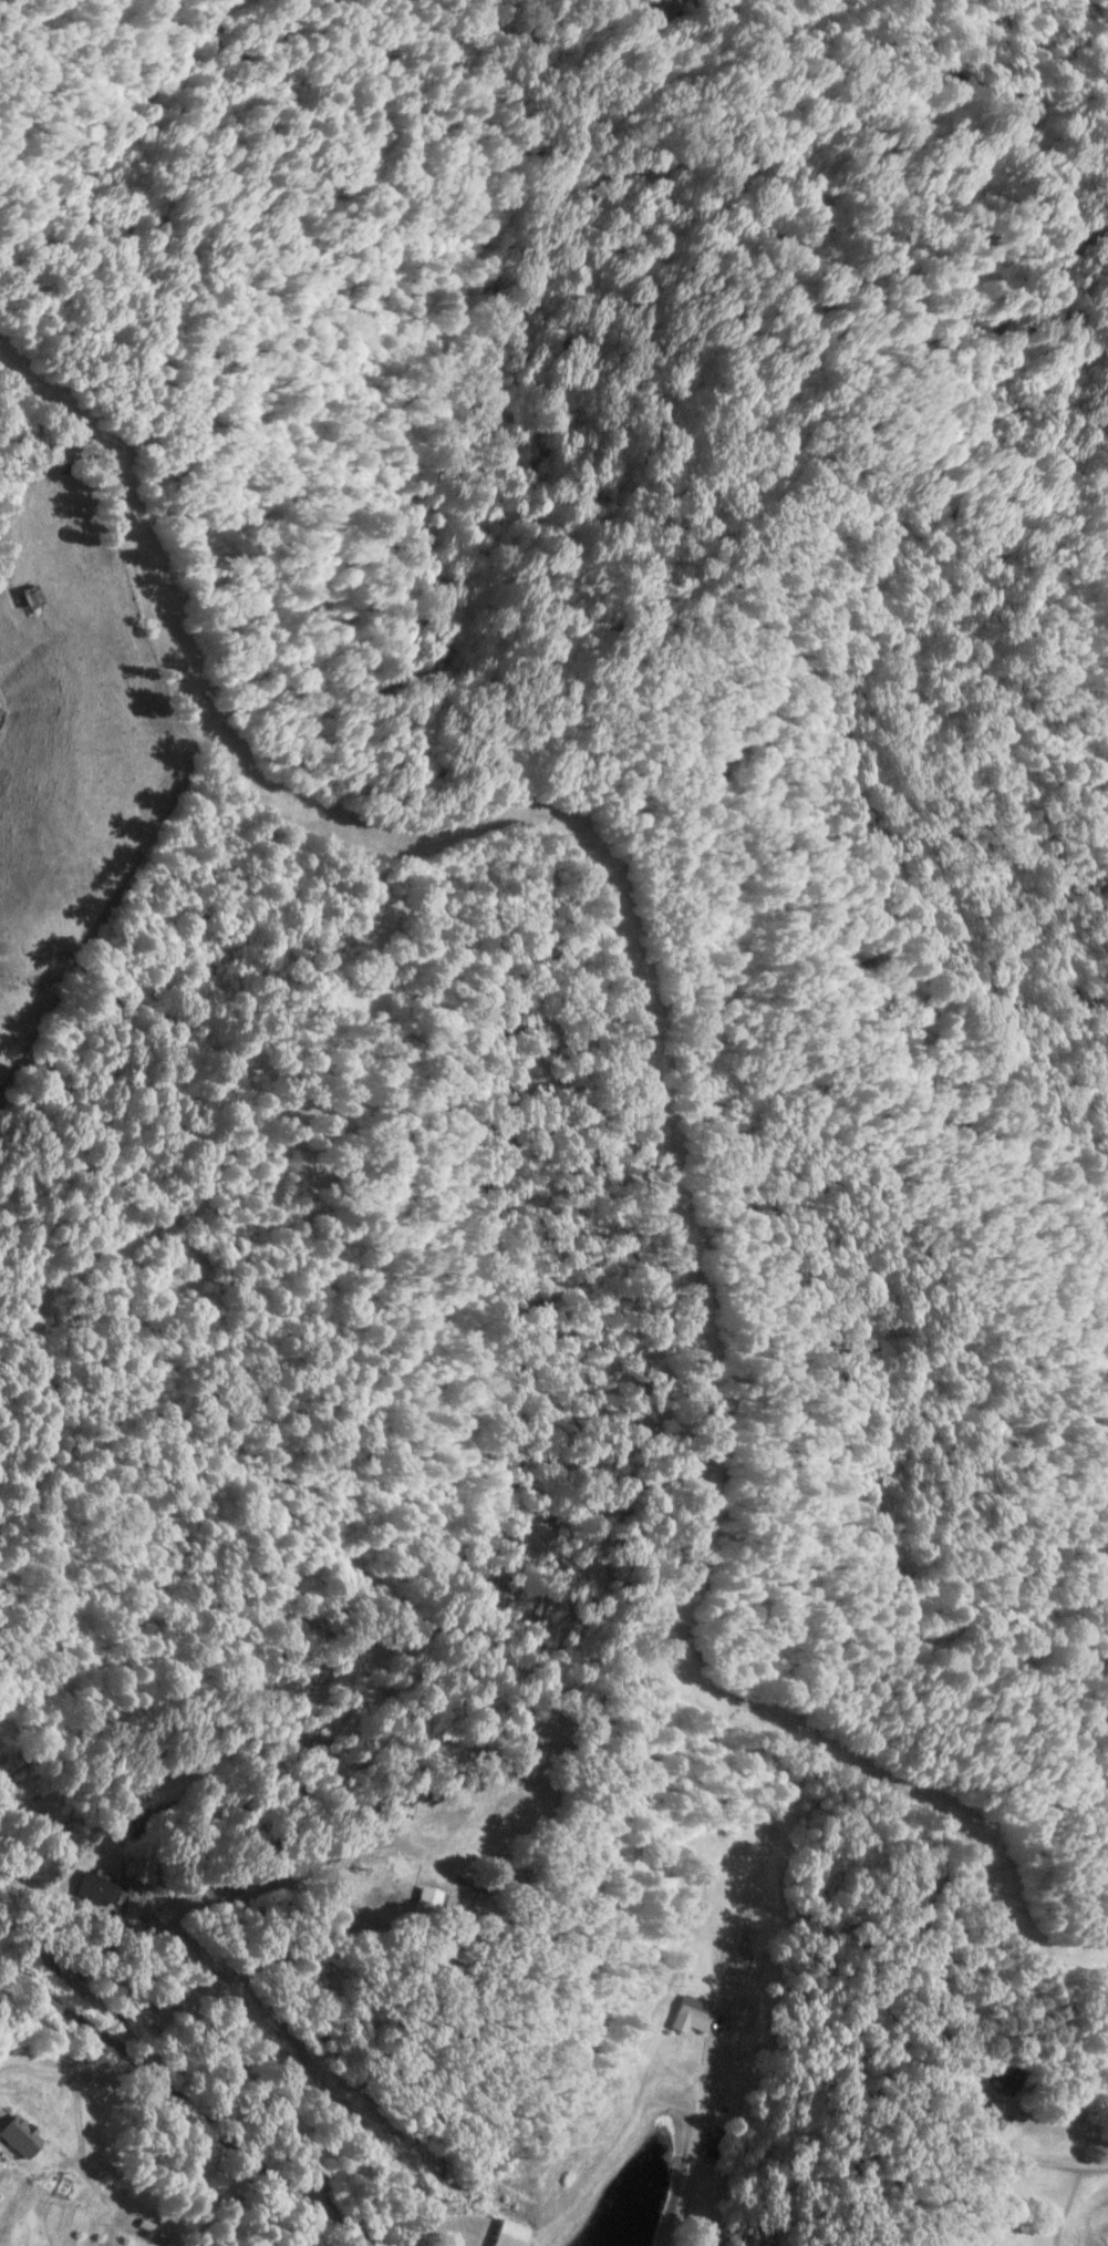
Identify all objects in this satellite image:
building: (35, 597)
road: (302, 1450)
road: (462, 1572)
road: (154, 1620)
road: (278, 1810)
building: (97, 1888)
building: (694, 2015)
road: (185, 2067)
building: (22, 2136)
building: (713, 2137)
building: (139, 2224)
building: (516, 2234)
road: (170, 2243)

